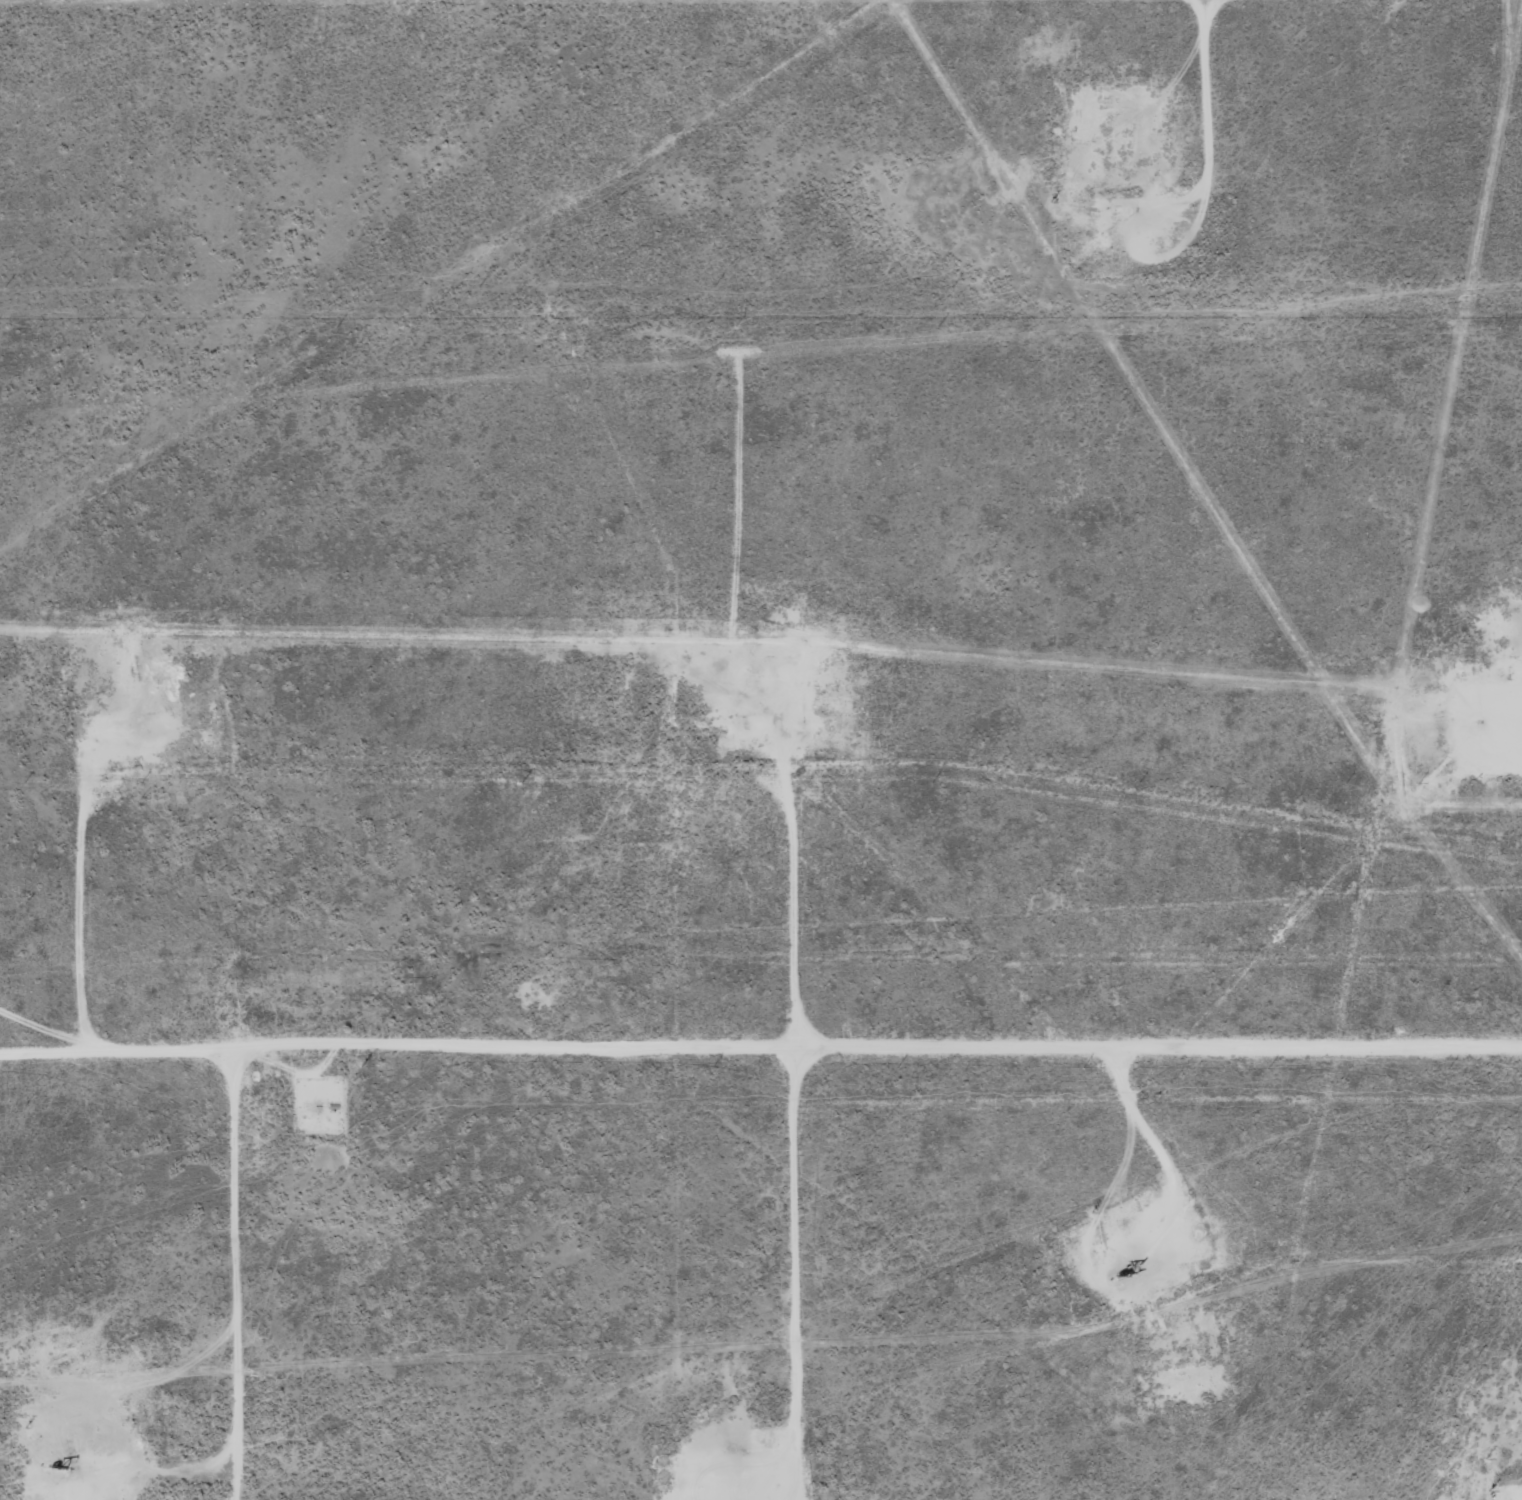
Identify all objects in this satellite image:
road: (760, 1059)
road: (786, 1279)
road: (206, 1284)

